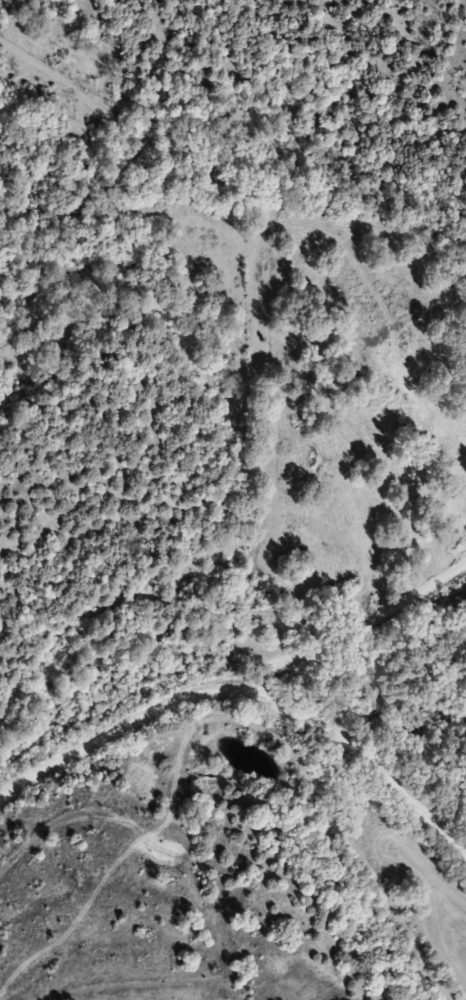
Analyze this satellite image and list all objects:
road: (354, 617)
road: (238, 696)

